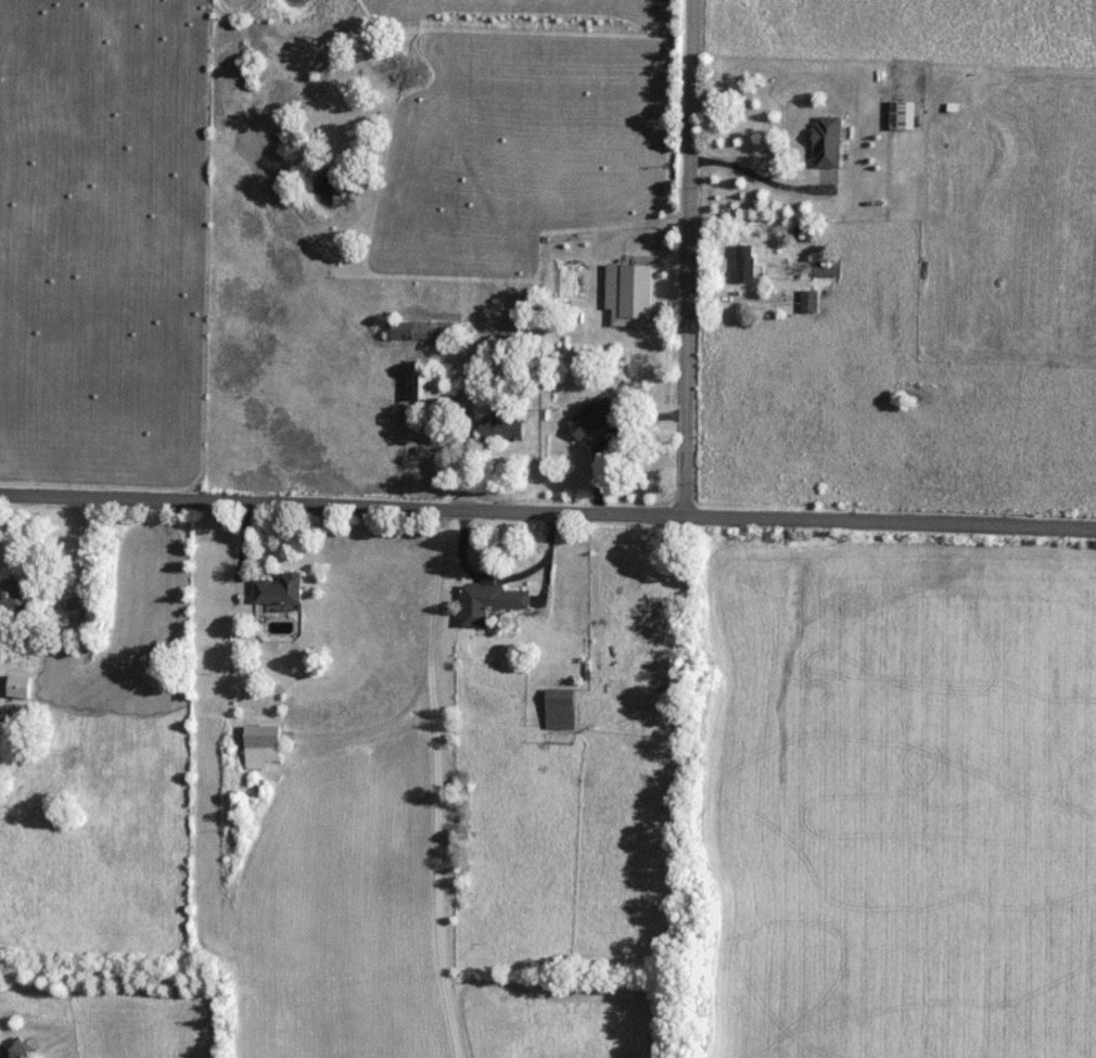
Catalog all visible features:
building: (794, 111)
building: (754, 114)
building: (900, 115)
building: (828, 141)
road: (763, 178)
road: (700, 255)
building: (747, 264)
building: (827, 269)
building: (636, 297)
building: (811, 302)
building: (420, 329)
building: (426, 385)
building: (594, 418)
building: (504, 425)
road: (348, 500)
road: (896, 518)
building: (280, 590)
building: (15, 597)
building: (492, 600)
building: (561, 709)
building: (27, 713)
building: (263, 745)
road: (435, 780)
building: (16, 1049)

